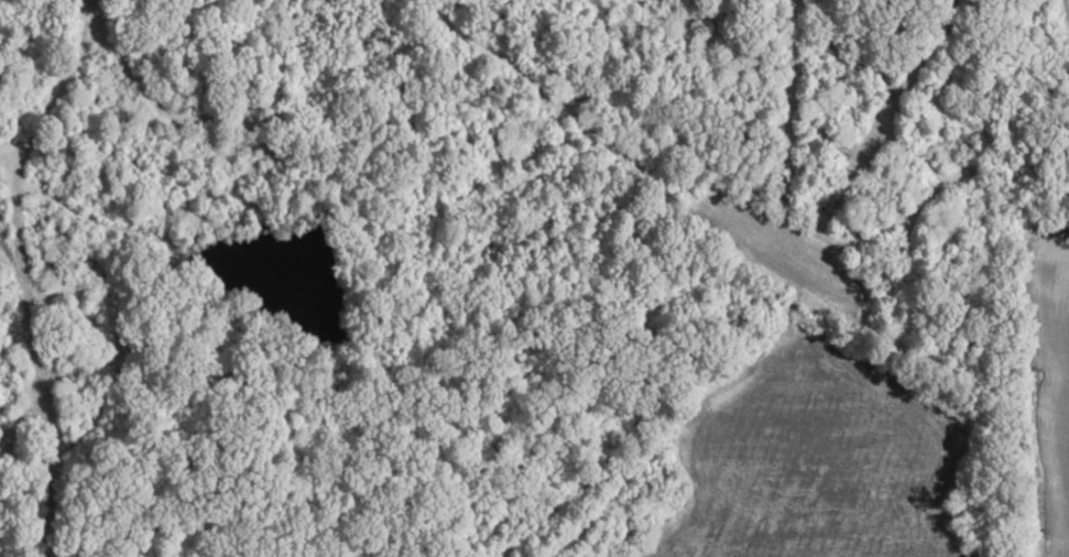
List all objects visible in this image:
road: (19, 272)

